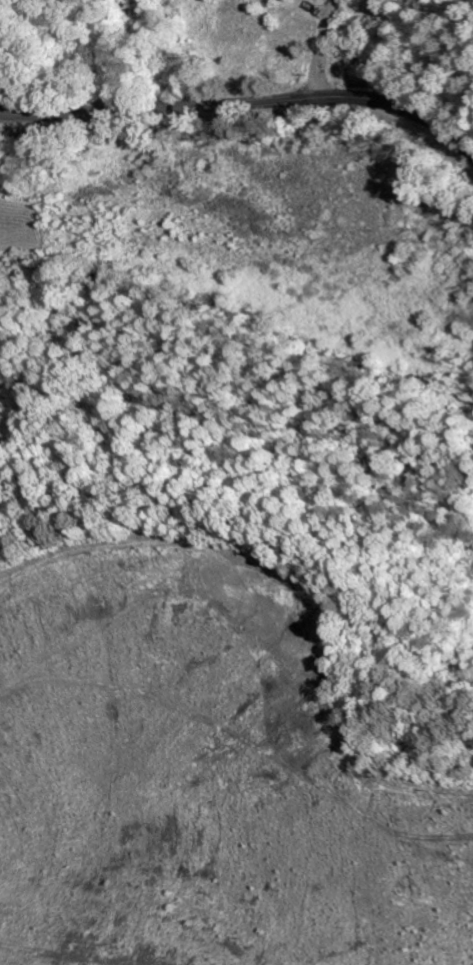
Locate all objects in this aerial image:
road: (320, 57)
road: (243, 104)

